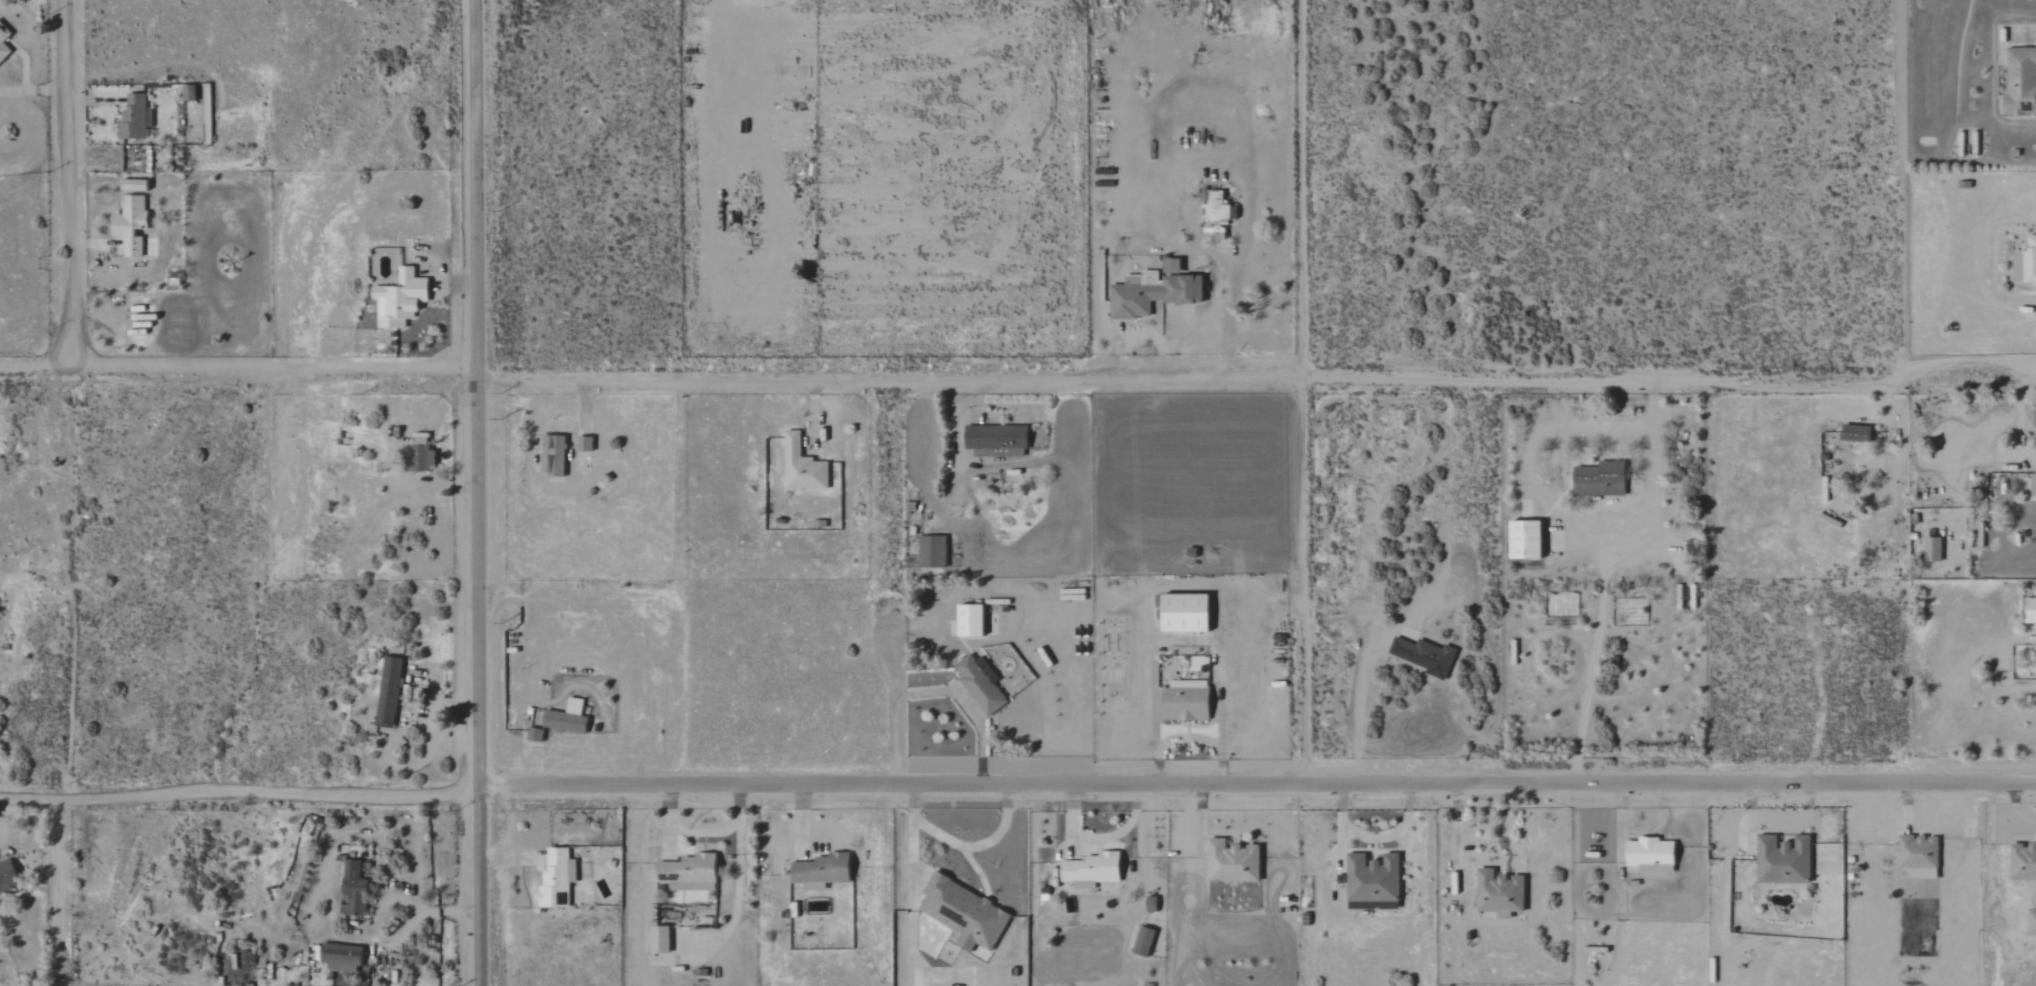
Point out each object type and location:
road: (2025, 38)
building: (4, 44)
building: (2018, 82)
road: (30, 91)
building: (190, 92)
building: (208, 116)
building: (137, 118)
building: (138, 185)
building: (133, 224)
road: (1244, 234)
building: (2024, 263)
building: (1150, 295)
building: (404, 299)
road: (240, 369)
road: (1259, 374)
road: (1295, 391)
road: (67, 397)
road: (2000, 425)
building: (1851, 433)
building: (423, 452)
road: (2025, 463)
building: (799, 467)
building: (1597, 480)
building: (2031, 486)
road: (478, 492)
building: (1521, 541)
building: (1930, 550)
building: (929, 552)
building: (2028, 611)
building: (1180, 614)
building: (966, 621)
building: (2035, 645)
road: (1592, 652)
building: (1421, 656)
building: (978, 684)
building: (391, 692)
road: (895, 697)
building: (1182, 701)
road: (968, 707)
road: (1356, 718)
building: (562, 722)
road: (1219, 735)
road: (1169, 740)
road: (1256, 783)
road: (238, 792)
road: (2014, 808)
road: (1639, 830)
road: (1458, 833)
road: (913, 842)
road: (979, 846)
building: (1648, 855)
building: (1915, 857)
building: (1780, 860)
building: (2021, 861)
building: (694, 868)
building: (825, 871)
building: (9, 876)
building: (560, 878)
building: (1370, 881)
building: (355, 887)
road: (60, 891)
building: (1496, 892)
road: (325, 895)
building: (959, 909)
building: (2030, 922)
road: (396, 939)
building: (663, 939)

